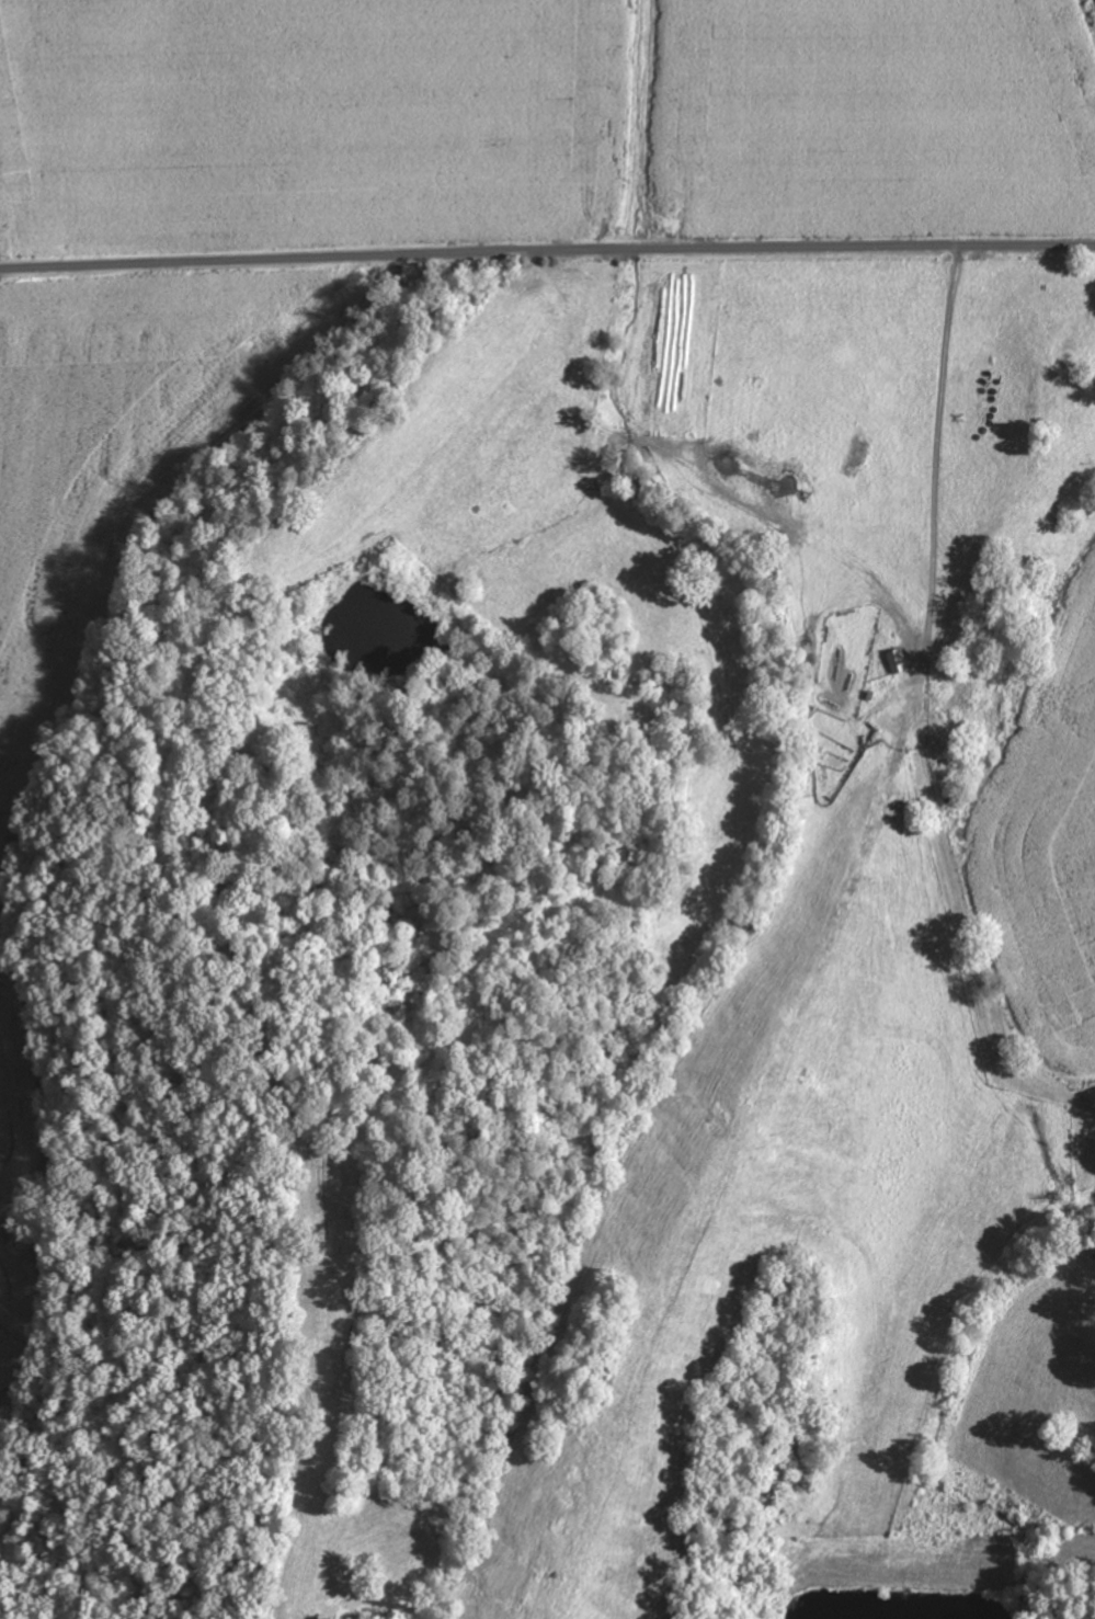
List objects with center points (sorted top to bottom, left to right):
road: (547, 251)
building: (896, 663)

